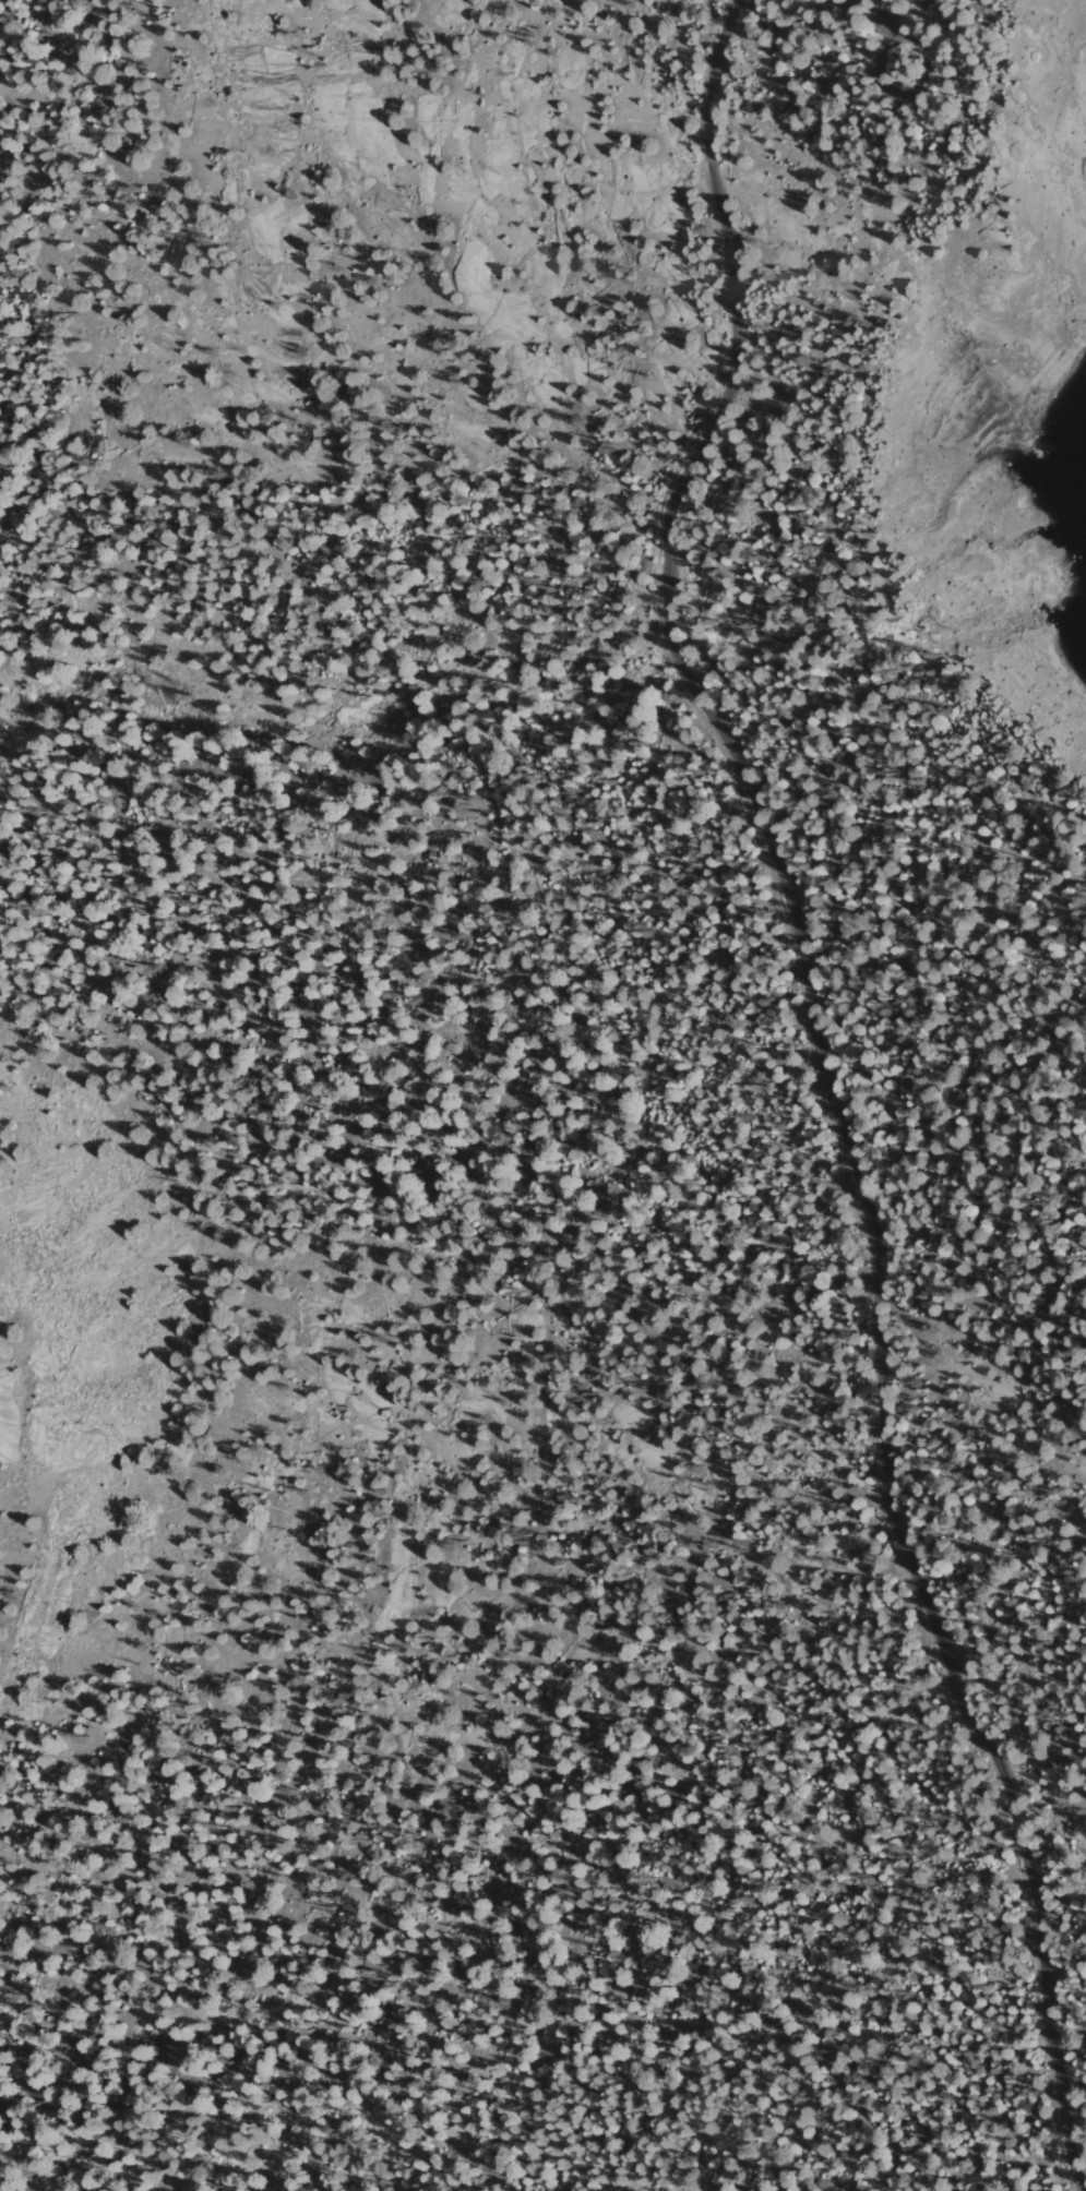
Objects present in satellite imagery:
road: (885, 10)
parking lot: (894, 67)
road: (906, 104)
road: (826, 1089)

